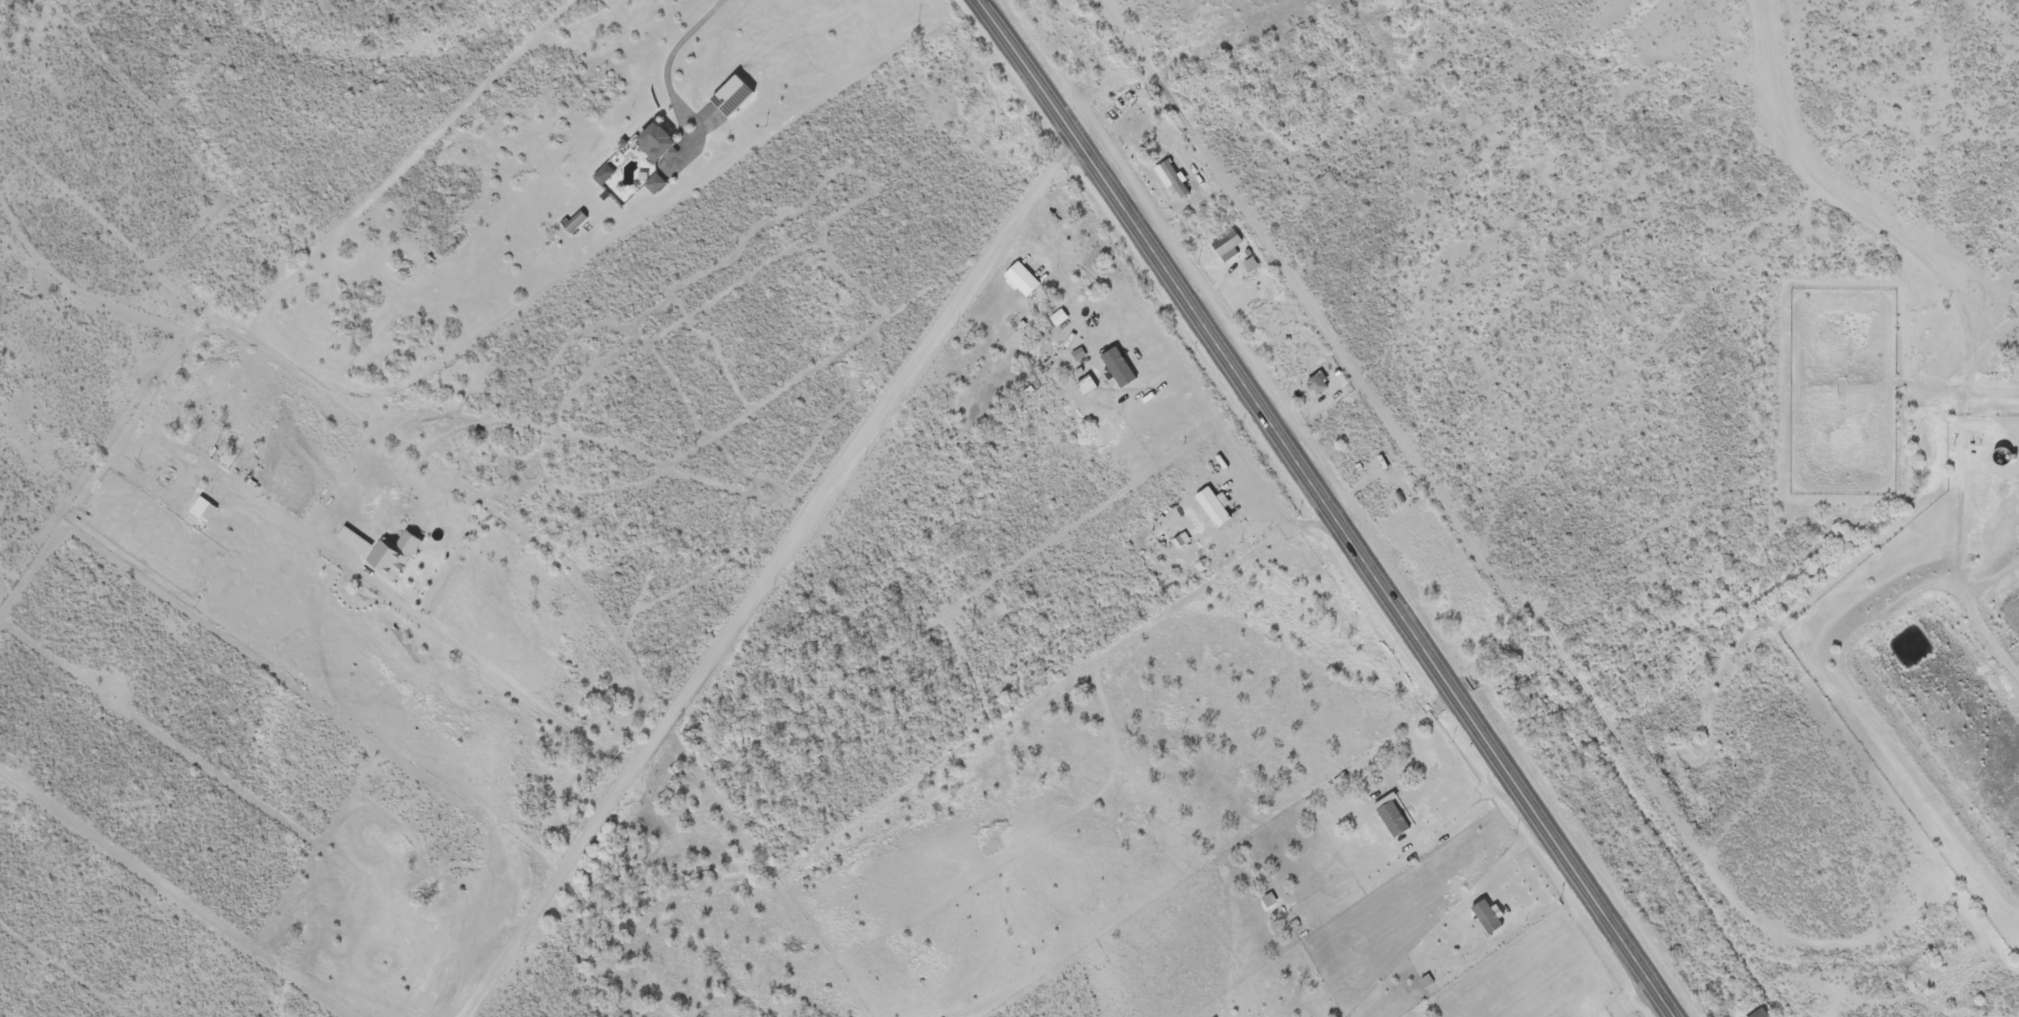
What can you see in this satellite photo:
building: (659, 140)
building: (1226, 238)
road: (1959, 310)
road: (1992, 392)
road: (676, 465)
road: (1332, 506)
building: (1221, 510)
building: (388, 555)
road: (1990, 578)
building: (1754, 1014)

